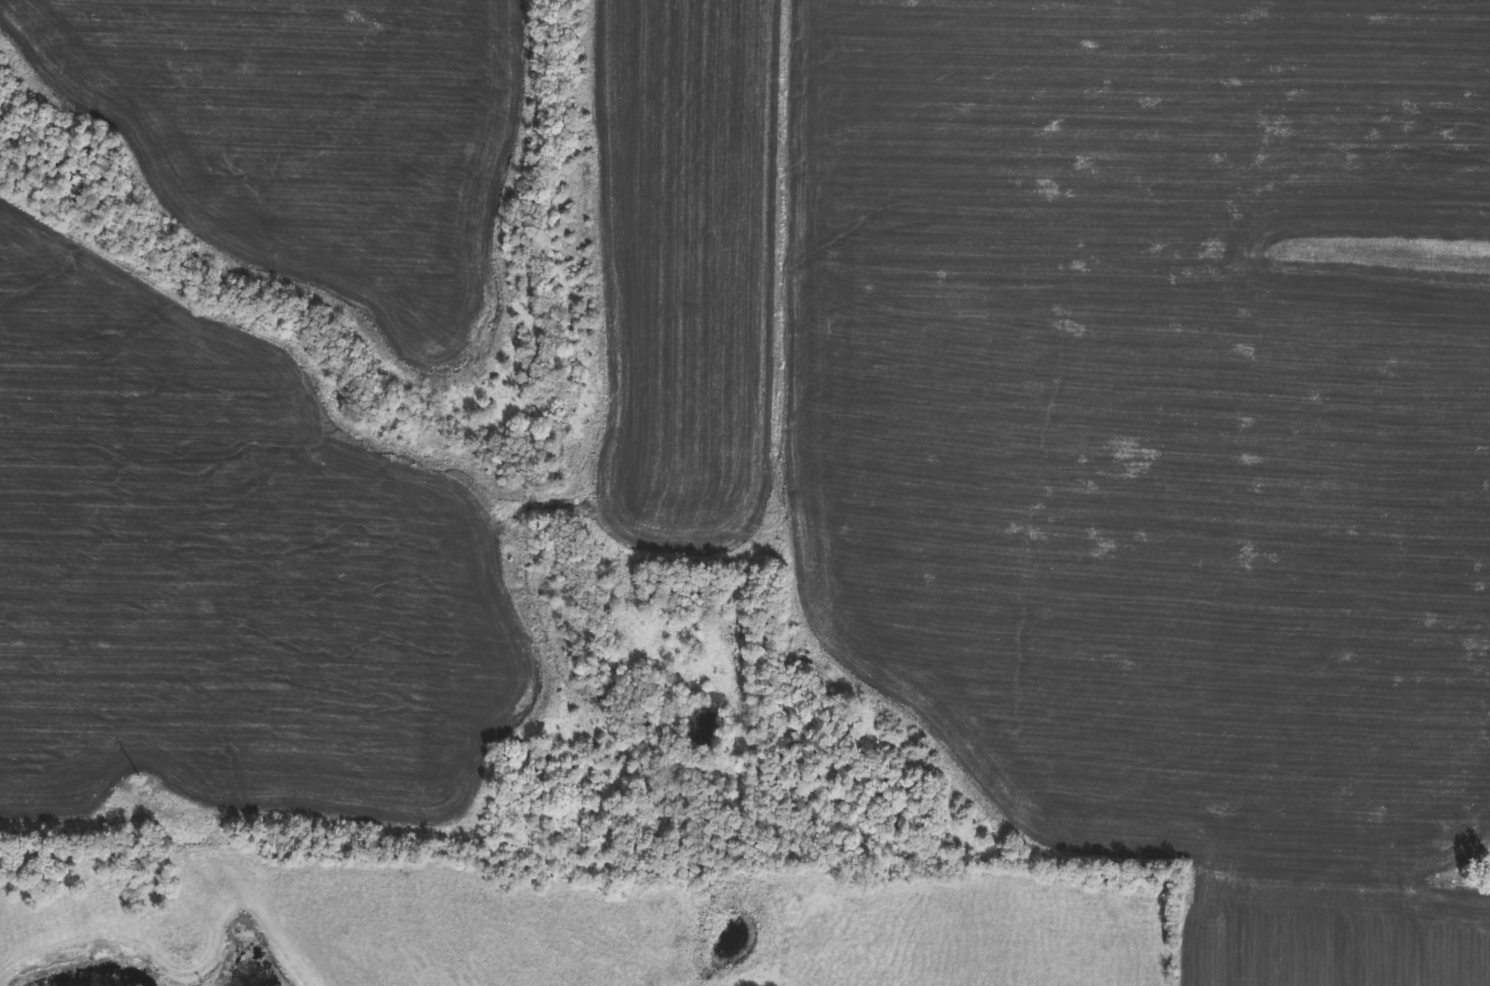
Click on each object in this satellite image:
road: (766, 424)
power tower: (141, 779)

